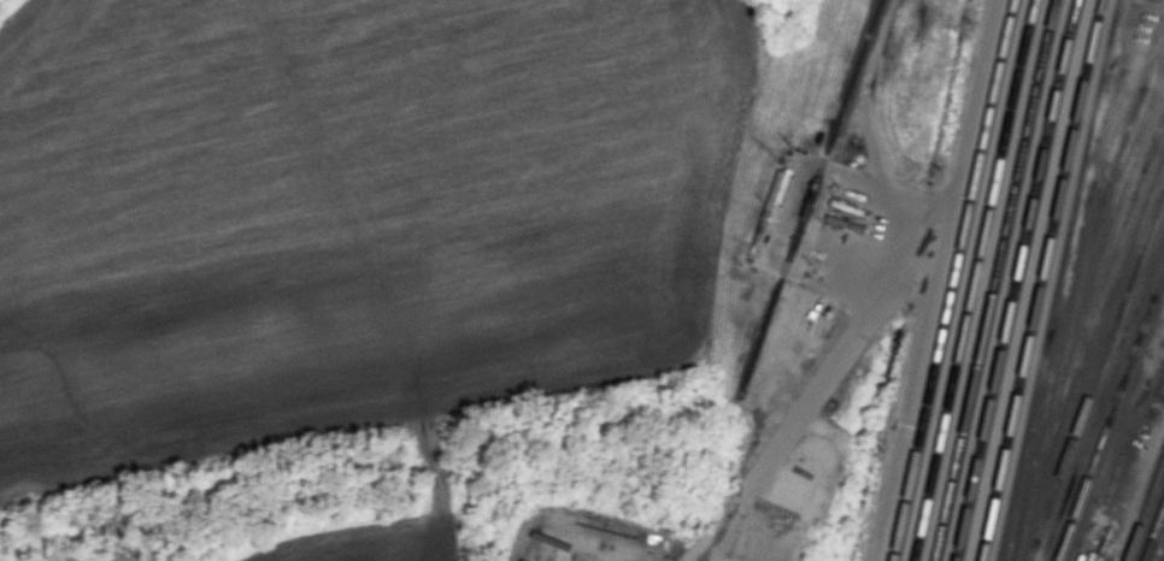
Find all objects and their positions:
railway: (852, 77)
crop: (353, 214)
railway: (1104, 274)
railway: (953, 279)
railway: (974, 279)
railway: (994, 279)
railway: (1015, 279)
railway: (1040, 280)
railway: (1080, 293)
railway: (1095, 376)
railway: (1110, 414)
railway: (1144, 507)
crop: (377, 531)
railway: (1153, 533)
railway: (1159, 550)

